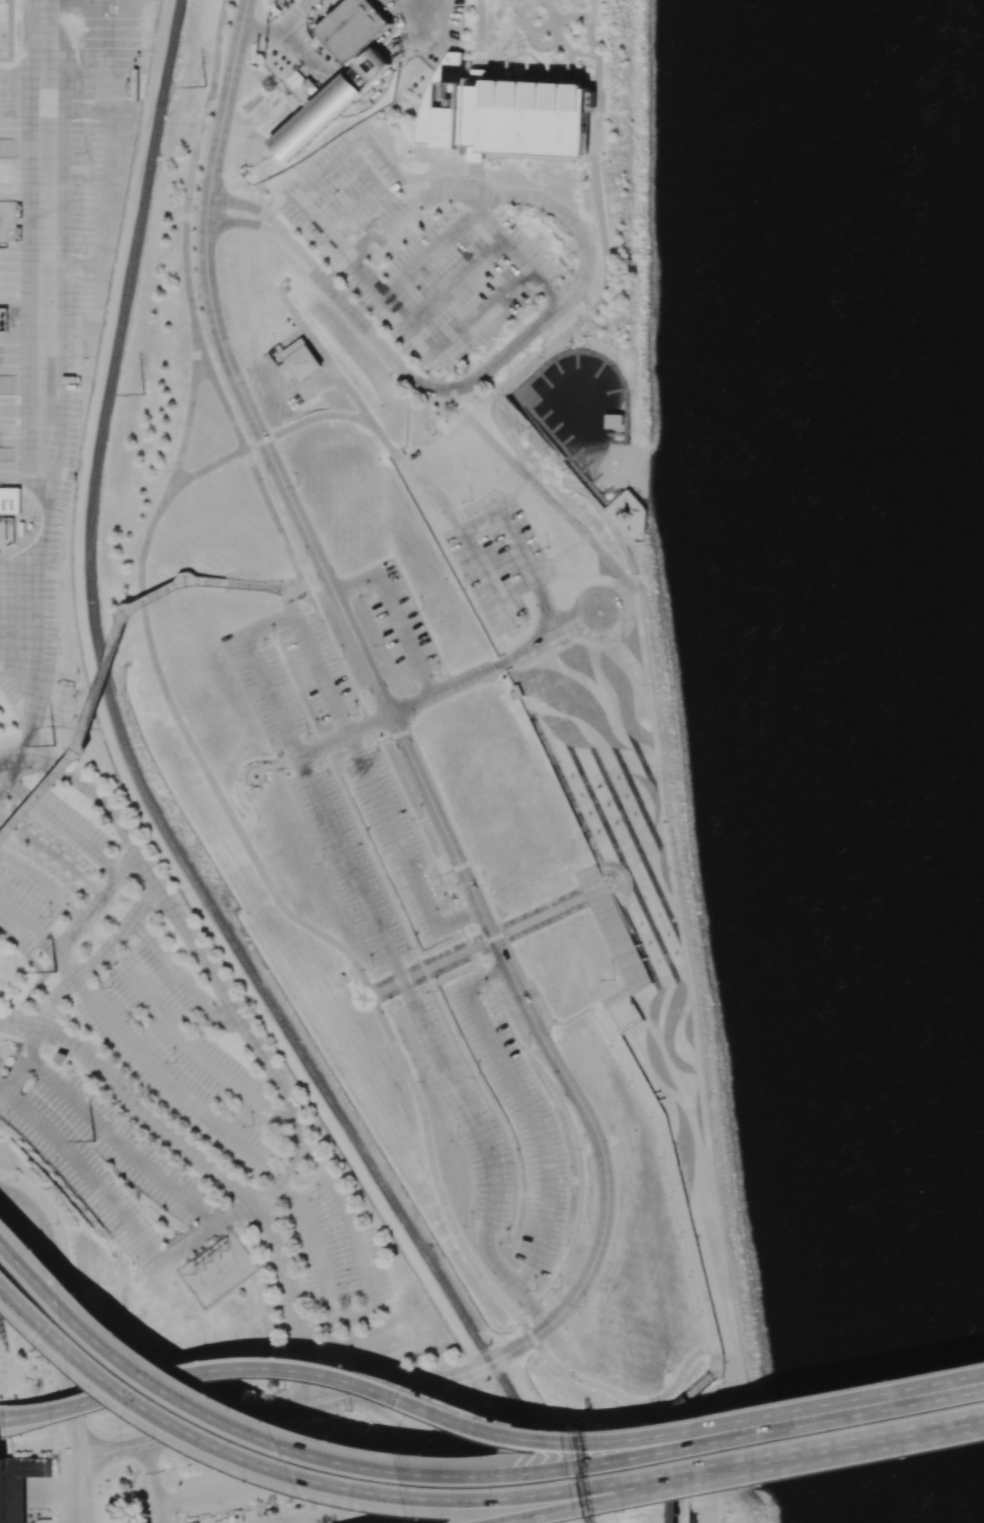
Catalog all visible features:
road: (412, 24)
road: (10, 26)
building: (352, 28)
road: (254, 30)
power tower: (205, 86)
building: (309, 86)
building: (330, 103)
building: (503, 112)
road: (600, 156)
road: (301, 193)
road: (437, 193)
road: (479, 202)
road: (249, 206)
road: (351, 208)
road: (570, 219)
road: (244, 223)
road: (374, 233)
road: (431, 253)
parking lot: (413, 255)
road: (519, 256)
road: (458, 284)
parking lot: (53, 293)
road: (189, 296)
road: (585, 299)
railway: (123, 305)
road: (290, 310)
road: (293, 337)
road: (454, 339)
road: (319, 351)
road: (545, 352)
pier: (573, 360)
pier: (603, 360)
building: (298, 361)
pier: (554, 366)
pier: (597, 368)
road: (482, 375)
road: (407, 377)
pier: (542, 380)
road: (42, 383)
road: (314, 387)
pier: (614, 390)
power tower: (142, 395)
road: (352, 396)
pier: (521, 397)
pier: (615, 414)
pier: (542, 416)
road: (468, 421)
pier: (552, 429)
road: (380, 435)
pier: (615, 435)
road: (507, 438)
pier: (563, 441)
pier: (619, 444)
pier: (573, 454)
pier: (565, 459)
road: (213, 463)
pier: (582, 468)
pier: (593, 480)
road: (282, 482)
road: (577, 486)
pier: (604, 492)
building: (10, 500)
road: (495, 514)
road: (583, 533)
parking lot: (498, 559)
road: (355, 583)
road: (581, 596)
road: (315, 600)
road: (288, 605)
road: (421, 621)
road: (267, 625)
parking lot: (401, 627)
road: (569, 627)
road: (404, 634)
road: (505, 659)
road: (319, 673)
road: (482, 683)
road: (495, 683)
road: (442, 690)
road: (461, 690)
road: (105, 693)
road: (270, 696)
road: (483, 698)
road: (412, 704)
road: (435, 712)
road: (493, 716)
road: (653, 718)
river: (877, 720)
road: (454, 723)
road: (487, 733)
road: (344, 734)
road: (391, 738)
road: (498, 741)
power tower: (54, 742)
road: (12, 761)
road: (384, 761)
road: (281, 764)
road: (11, 771)
road: (431, 782)
road: (250, 783)
parking lot: (344, 792)
road: (105, 801)
building: (515, 803)
road: (249, 807)
road: (468, 817)
road: (61, 823)
road: (392, 829)
park: (472, 843)
road: (502, 843)
road: (466, 845)
road: (502, 862)
parking lot: (42, 864)
road: (350, 868)
road: (453, 870)
road: (261, 871)
building: (541, 871)
road: (592, 881)
road: (45, 883)
road: (534, 886)
road: (99, 899)
road: (618, 908)
road: (509, 909)
road: (459, 916)
road: (611, 921)
road: (29, 922)
road: (462, 933)
road: (625, 934)
road: (484, 942)
road: (100, 955)
road: (65, 963)
power tower: (55, 971)
road: (182, 975)
road: (485, 977)
road: (540, 997)
road: (610, 1011)
street lamp: (592, 1013)
road: (19, 1020)
road: (605, 1021)
road: (627, 1026)
road: (255, 1041)
road: (191, 1046)
street lamp: (612, 1046)
road: (24, 1059)
railway: (315, 1078)
street lamp: (631, 1082)
road: (171, 1087)
road: (462, 1099)
road: (702, 1108)
road: (147, 1114)
parking lot: (494, 1116)
street lamp: (651, 1117)
road: (572, 1130)
road: (538, 1132)
parking lot: (178, 1139)
power tower: (94, 1140)
road: (114, 1146)
street lamp: (662, 1157)
road: (79, 1168)
street lamp: (17, 1180)
road: (676, 1186)
street lamp: (672, 1197)
road: (9, 1206)
road: (351, 1217)
street lamp: (58, 1224)
road: (202, 1231)
road: (48, 1233)
street lamp: (681, 1236)
road: (318, 1247)
power tower: (221, 1256)
street lamp: (51, 1260)
road: (32, 1267)
power tower: (203, 1268)
street lamp: (691, 1276)
road: (508, 1277)
street lamp: (73, 1278)
road: (294, 1300)
street lamp: (701, 1315)
road: (339, 1320)
street lamp: (126, 1331)
road: (523, 1342)
street lamp: (278, 1352)
street lamp: (202, 1357)
road: (715, 1361)
road: (232, 1366)
street lamp: (85, 1378)
road: (70, 1379)
road: (677, 1380)
street lamp: (889, 1381)
road: (590, 1383)
road: (983, 1383)
road: (701, 1386)
street lamp: (86, 1387)
street lamp: (420, 1388)
street lamp: (218, 1392)
traffic signals: (354, 1394)
traffic signals: (314, 1403)
road: (891, 1403)
street lamp: (748, 1409)
street lamp: (473, 1412)
road: (3, 1420)
street lamp: (60, 1423)
street lamp: (660, 1425)
street lamp: (567, 1431)
street lamp: (165, 1435)
street lamp: (118, 1437)
street lamp: (339, 1440)
road: (628, 1444)
road: (433, 1447)
road: (835, 1450)
street lamp: (58, 1454)
street lamp: (903, 1457)
road: (675, 1458)
building: (676, 1458)
road: (150, 1470)
road: (81, 1478)
street lamp: (258, 1479)
parking lot: (283, 1479)
road: (256, 1484)
street lamp: (763, 1484)
building: (17, 1485)
street lamp: (95, 1491)
parking lot: (353, 1497)
road: (602, 1502)
road: (305, 1504)
street lamp: (638, 1509)
parking lot: (143, 1510)
street lamp: (371, 1510)
road: (84, 1511)
road: (346, 1513)
parking lot: (262, 1514)
road: (158, 1515)
street lamp: (427, 1517)
road: (305, 1518)
parking lot: (377, 1518)

